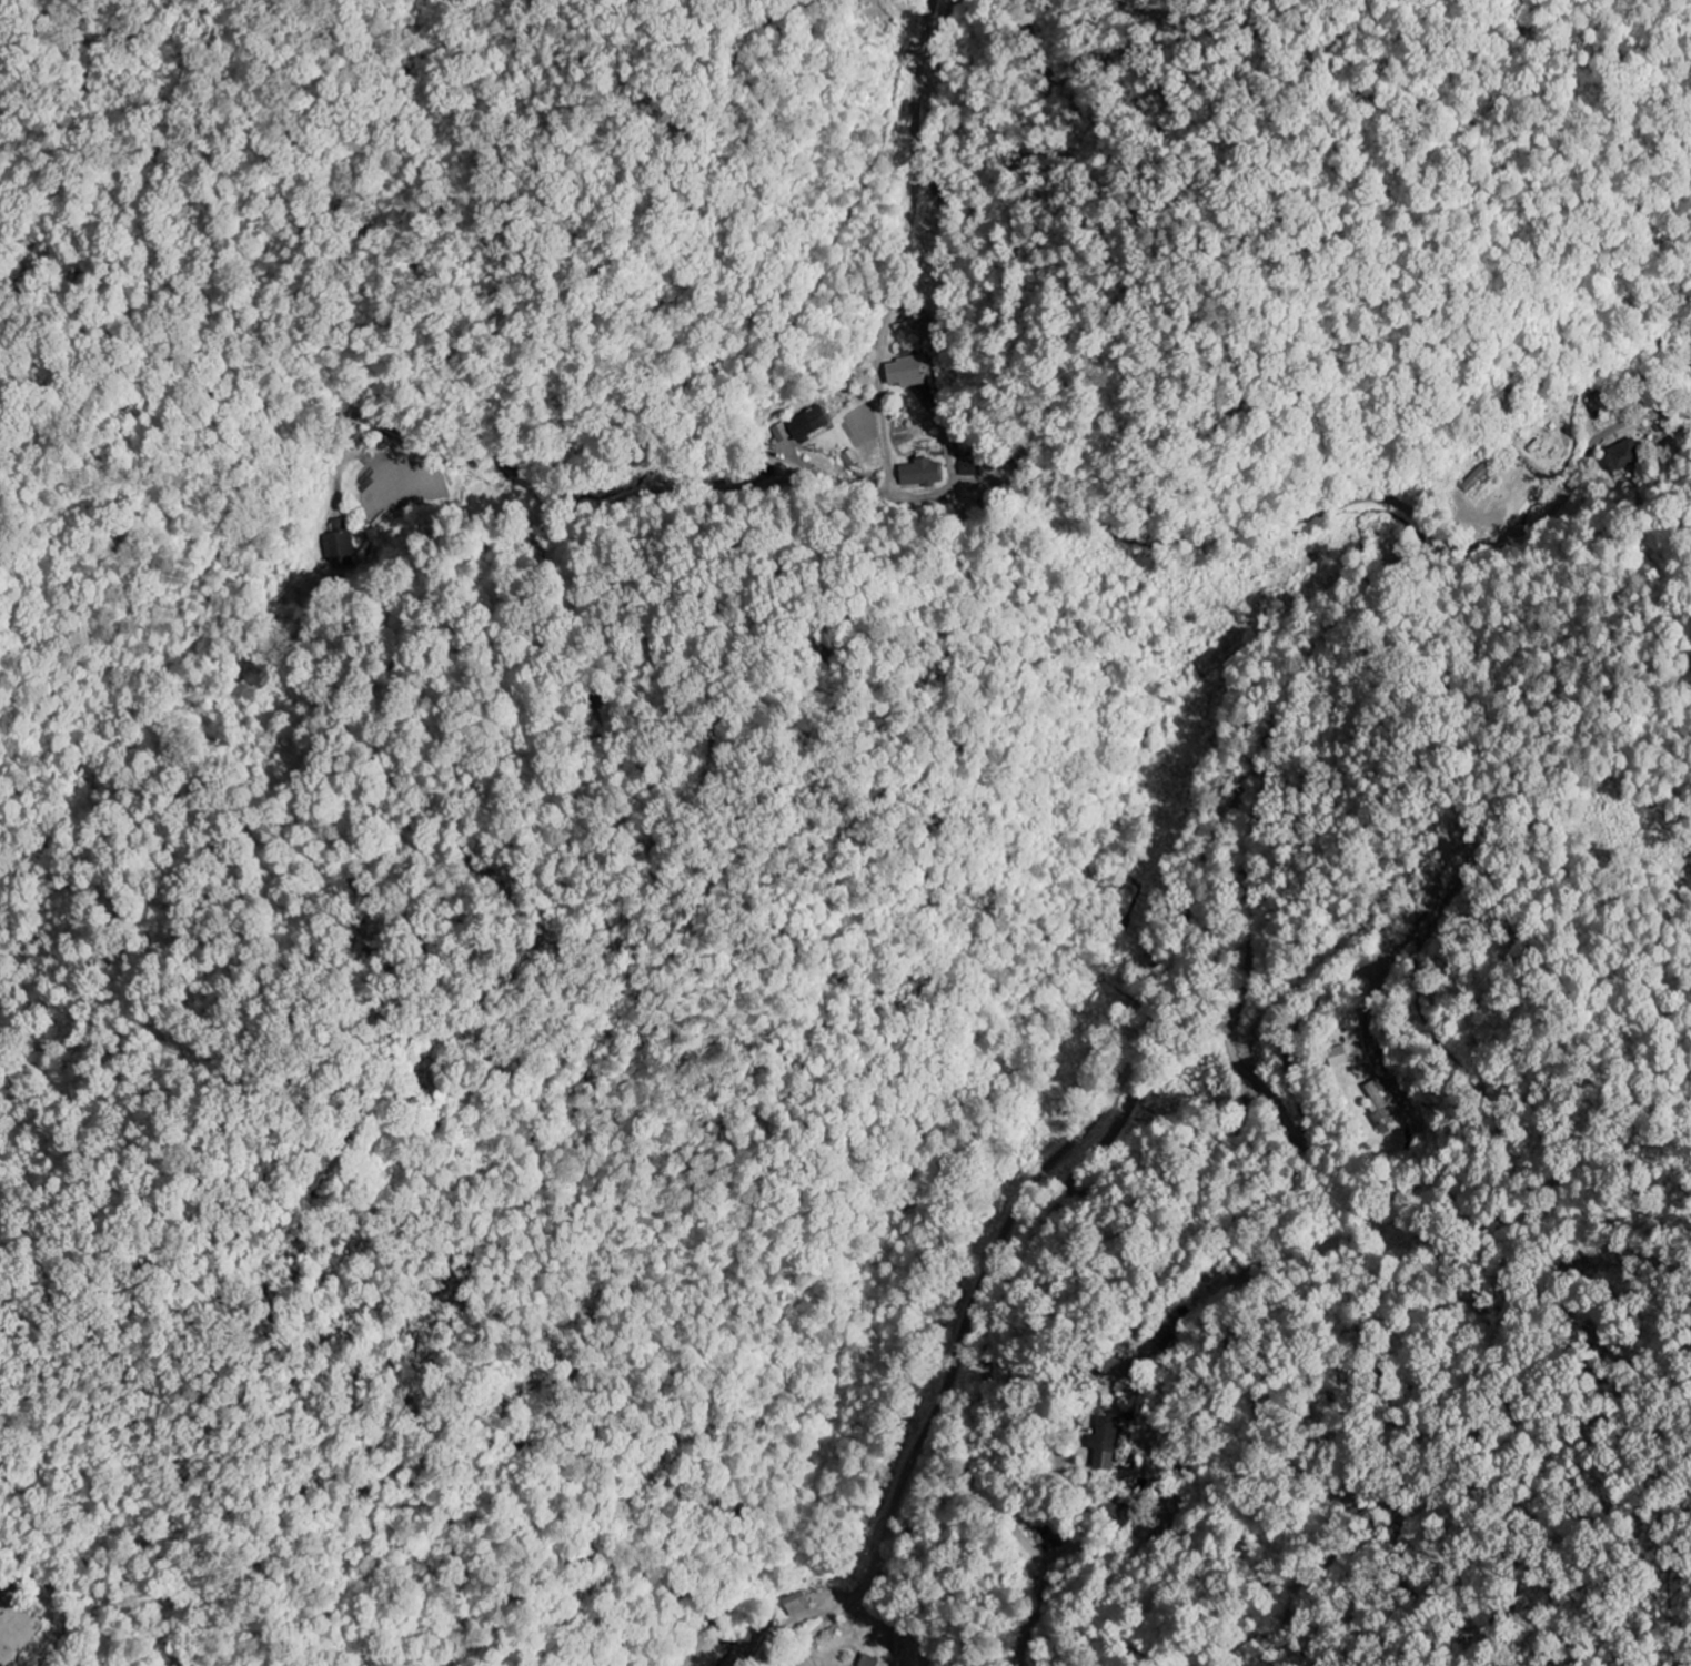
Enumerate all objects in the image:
building: (906, 372)
building: (807, 424)
building: (781, 433)
building: (1623, 456)
building: (968, 468)
building: (920, 475)
road: (1077, 505)
road: (1252, 774)
building: (1379, 1105)
road: (1295, 1122)
road: (966, 1324)
building: (1105, 1444)
building: (797, 1604)
building: (870, 1662)

